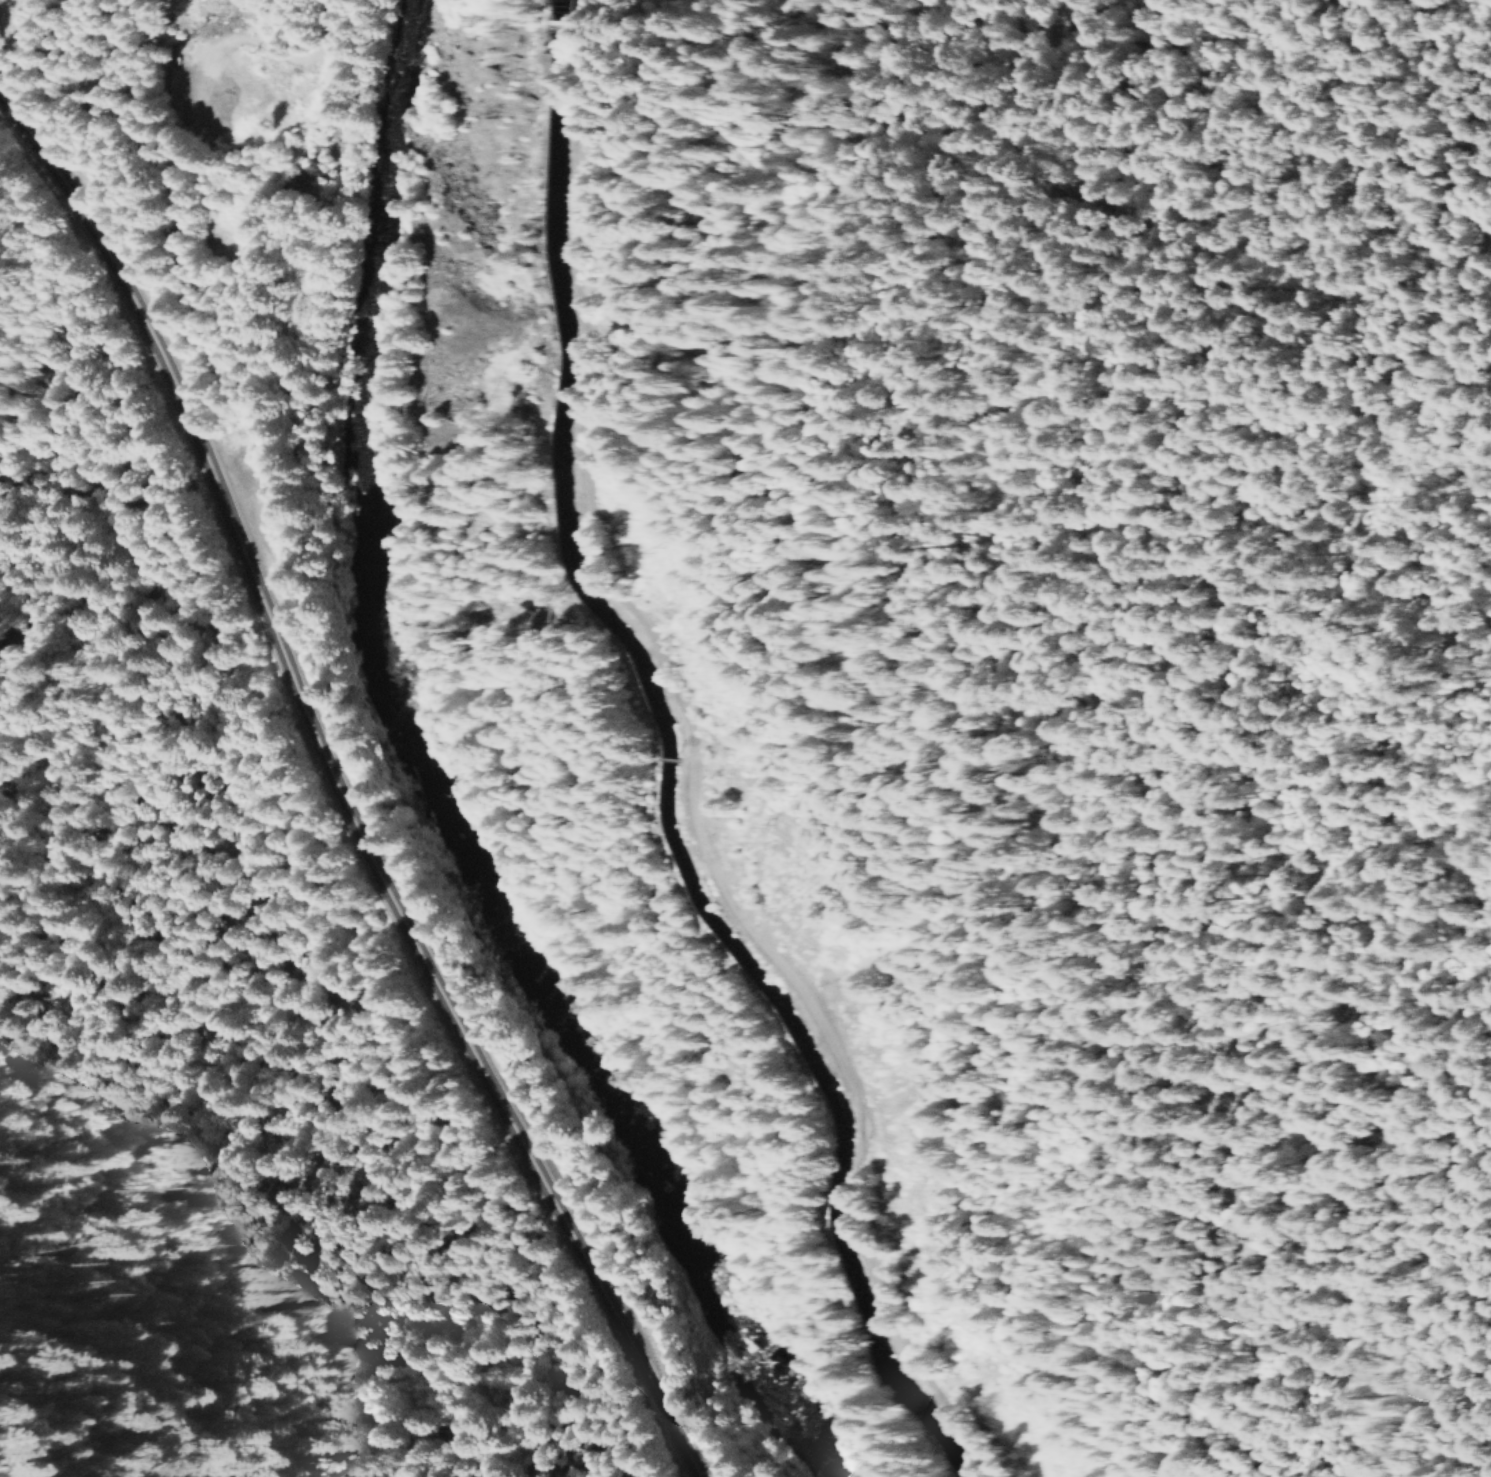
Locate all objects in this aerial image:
road: (319, 46)
power tower: (663, 547)
road: (1086, 588)
road: (690, 765)
river: (421, 789)
road: (339, 794)

